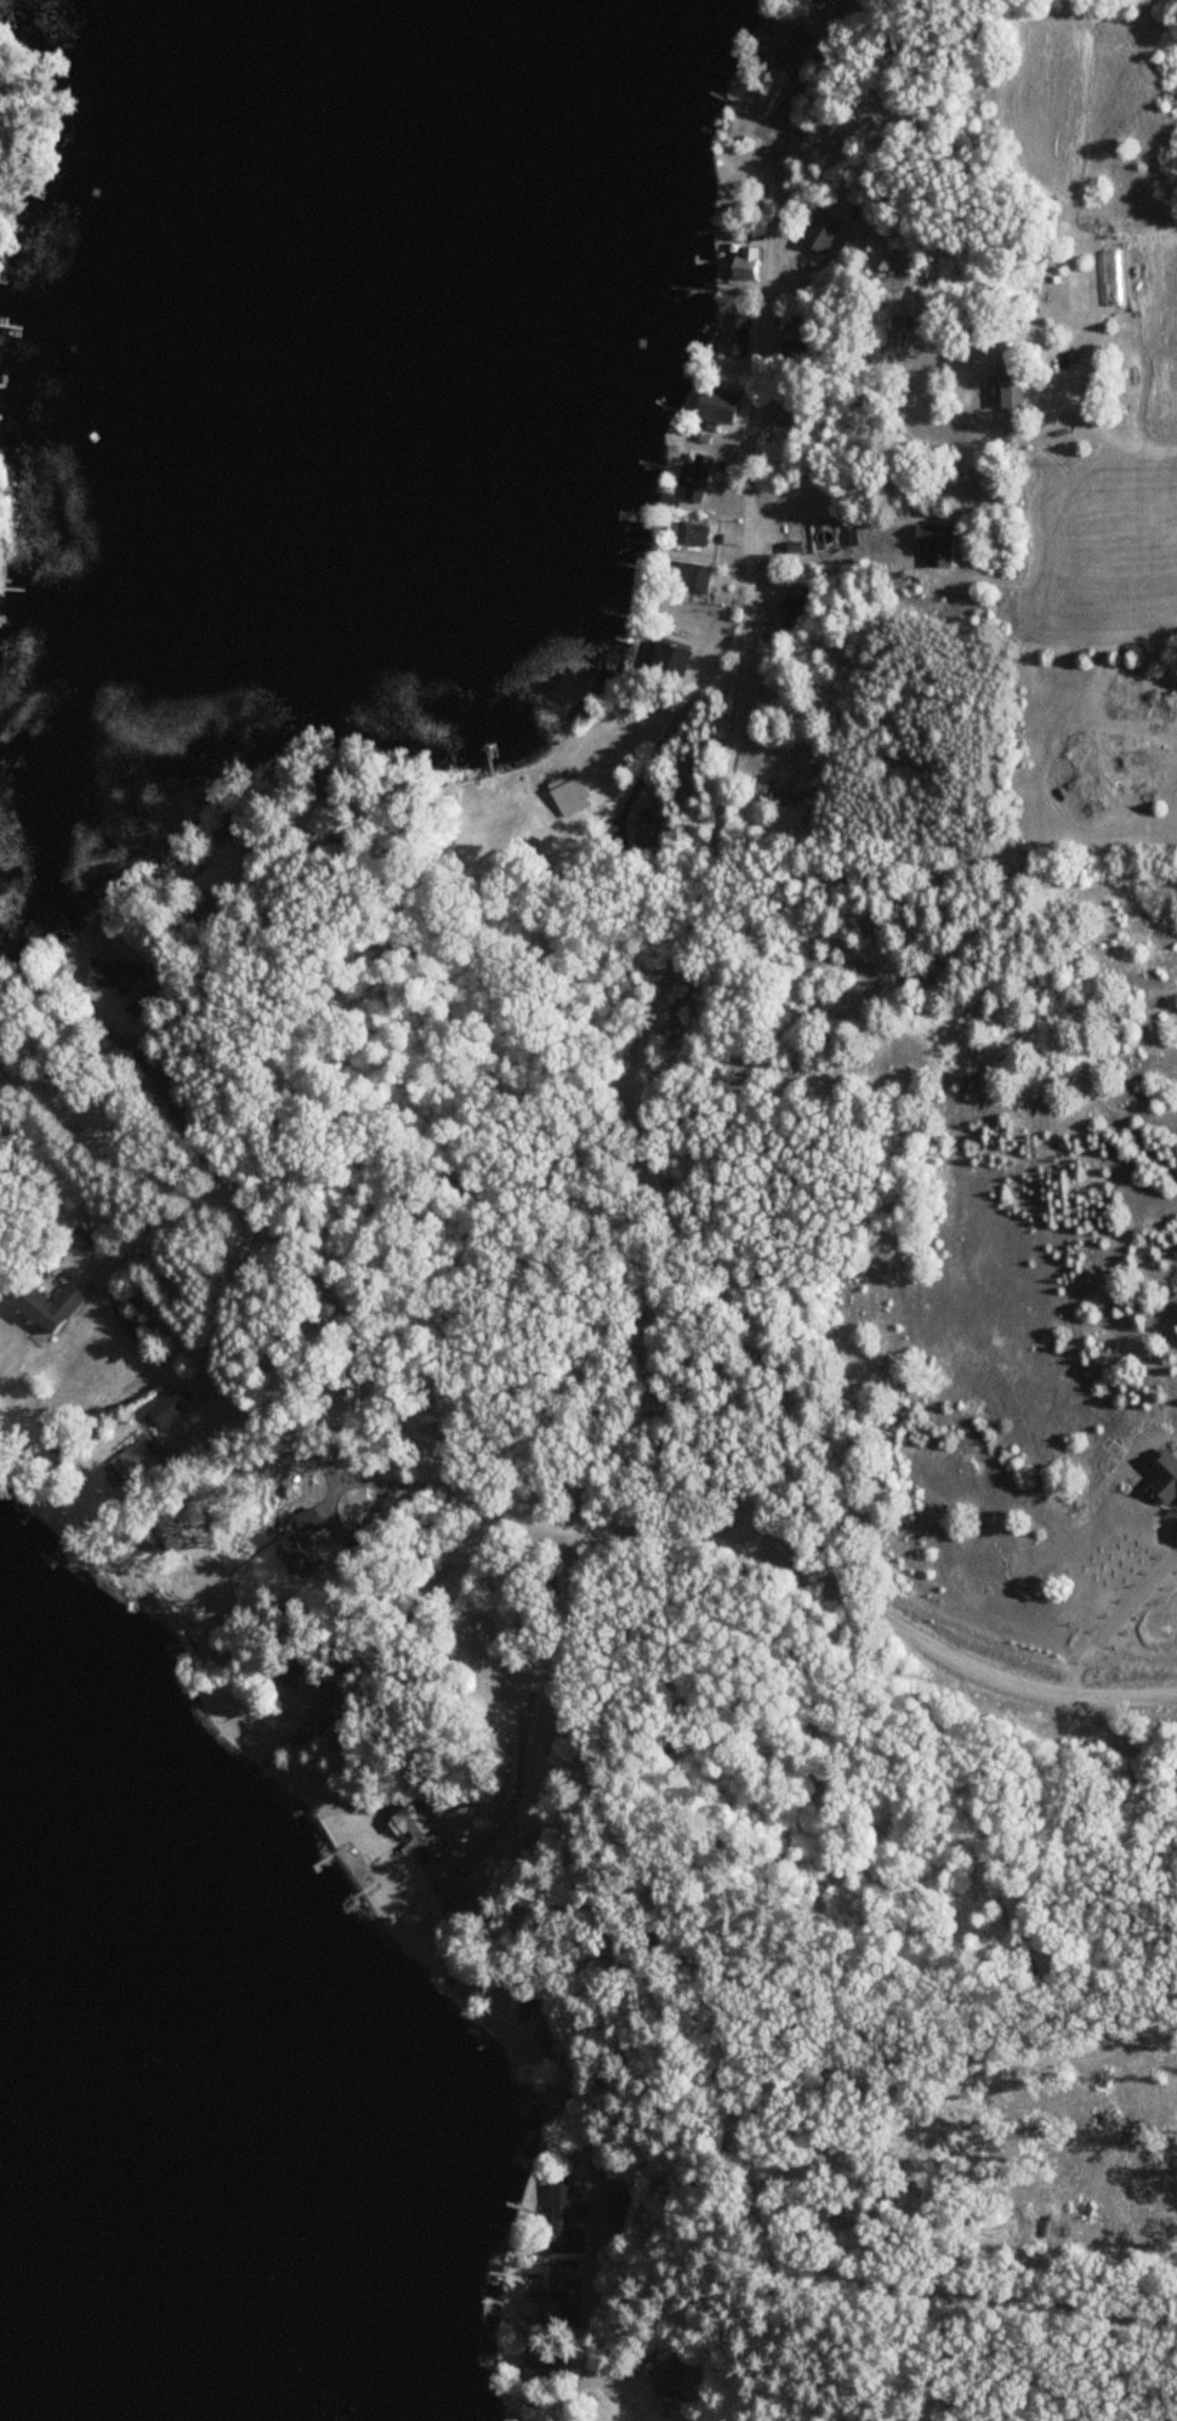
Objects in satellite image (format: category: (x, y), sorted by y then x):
building: (780, 46)
building: (820, 235)
building: (732, 335)
building: (1007, 382)
building: (723, 408)
building: (789, 415)
road: (1114, 421)
building: (693, 476)
building: (684, 533)
building: (690, 575)
building: (791, 608)
building: (667, 659)
building: (567, 792)
road: (720, 803)
road: (266, 939)
road: (556, 971)
building: (114, 974)
building: (81, 1239)
road: (101, 1296)
building: (55, 1307)
building: (171, 1409)
road: (334, 1491)
road: (485, 1507)
building: (303, 1540)
road: (319, 1678)
road: (529, 1699)
building: (414, 1823)
building: (559, 2212)
road: (593, 2239)
building: (541, 2366)
building: (663, 2371)

